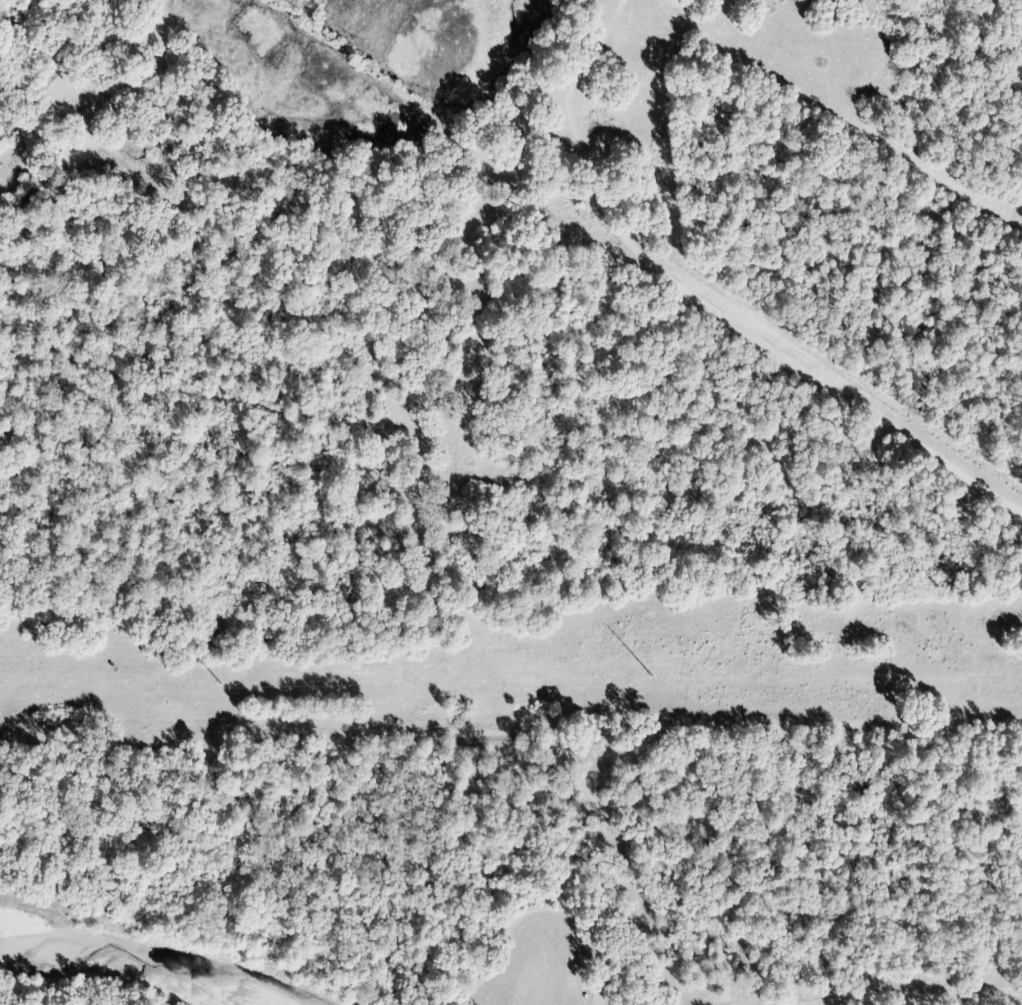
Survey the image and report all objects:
road: (771, 331)

